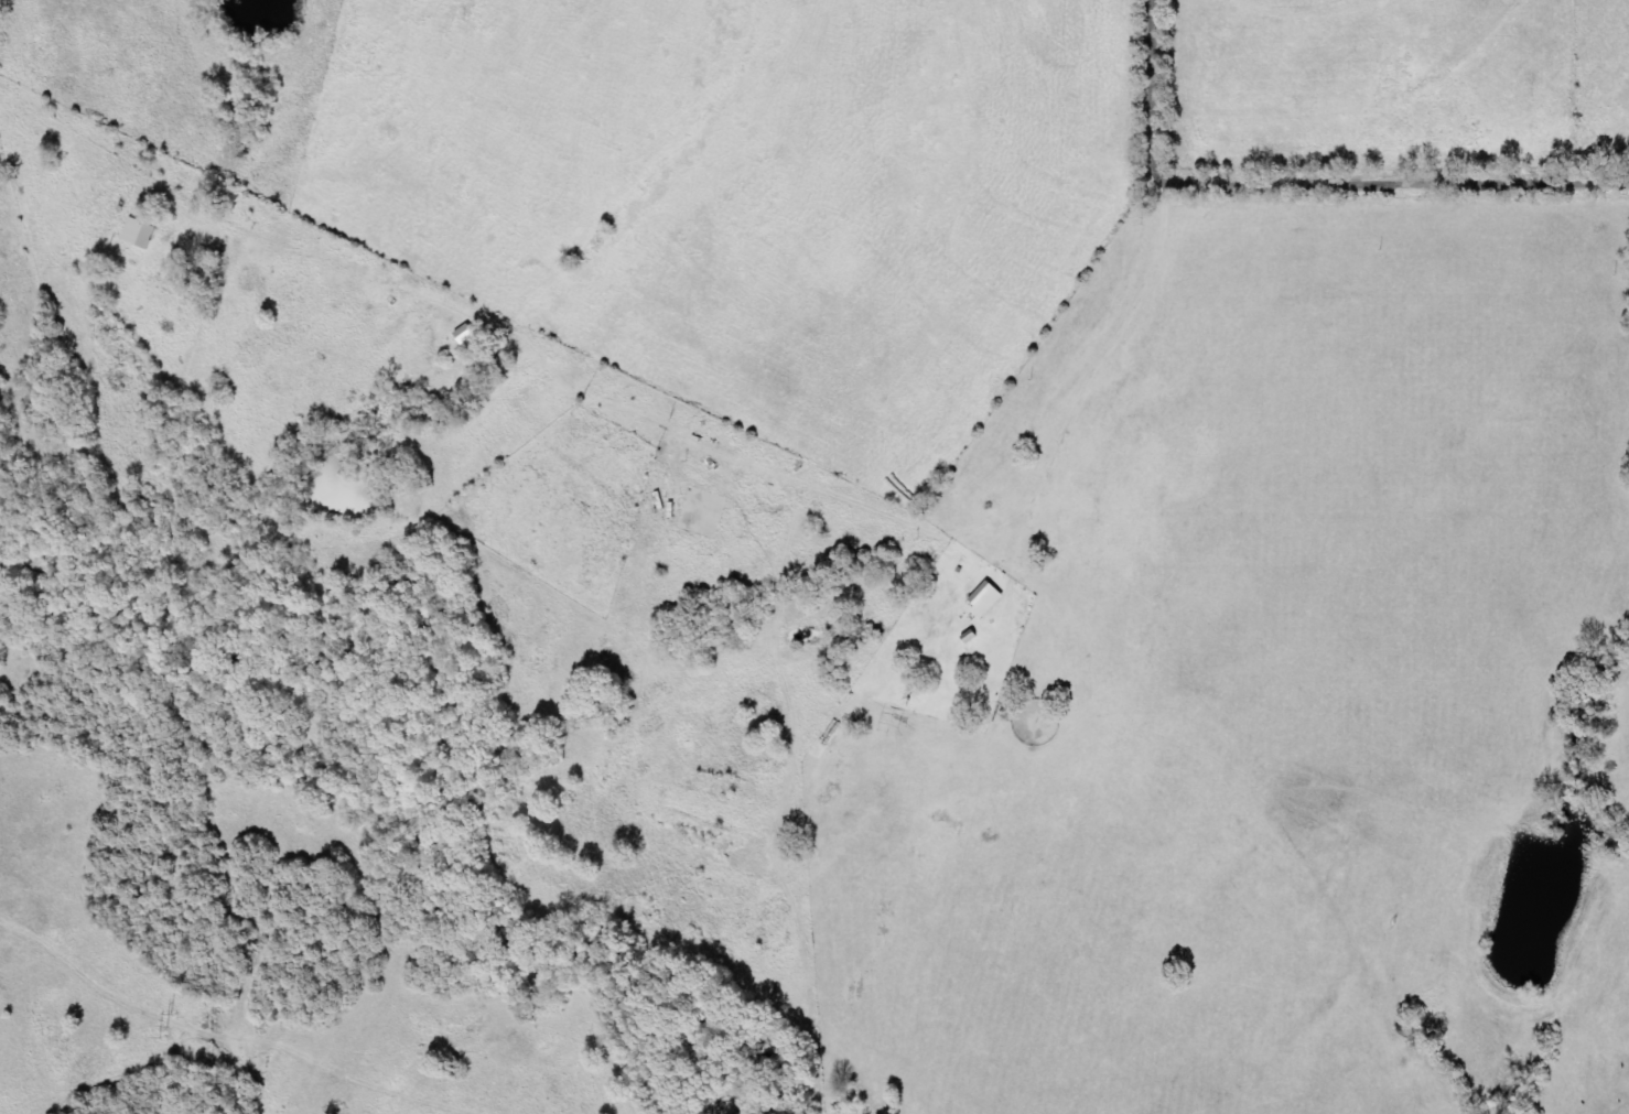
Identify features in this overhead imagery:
road: (1314, 174)
building: (143, 234)
road: (1167, 279)
building: (470, 335)
building: (991, 601)
power tower: (169, 1025)

